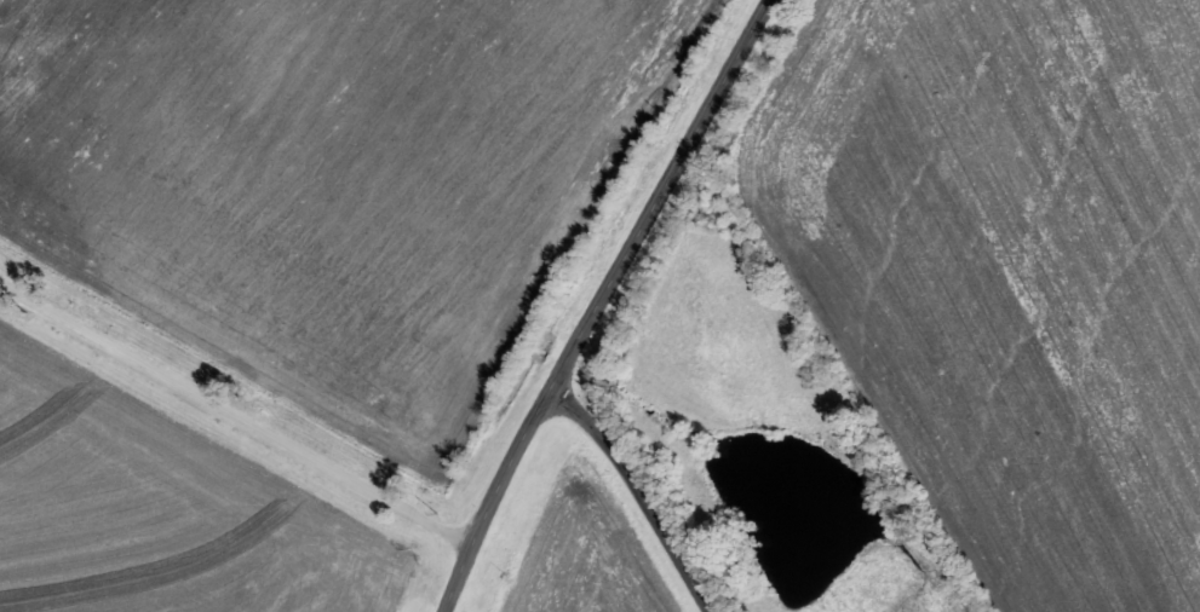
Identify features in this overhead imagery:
road: (590, 300)
road: (234, 416)
road: (633, 490)

